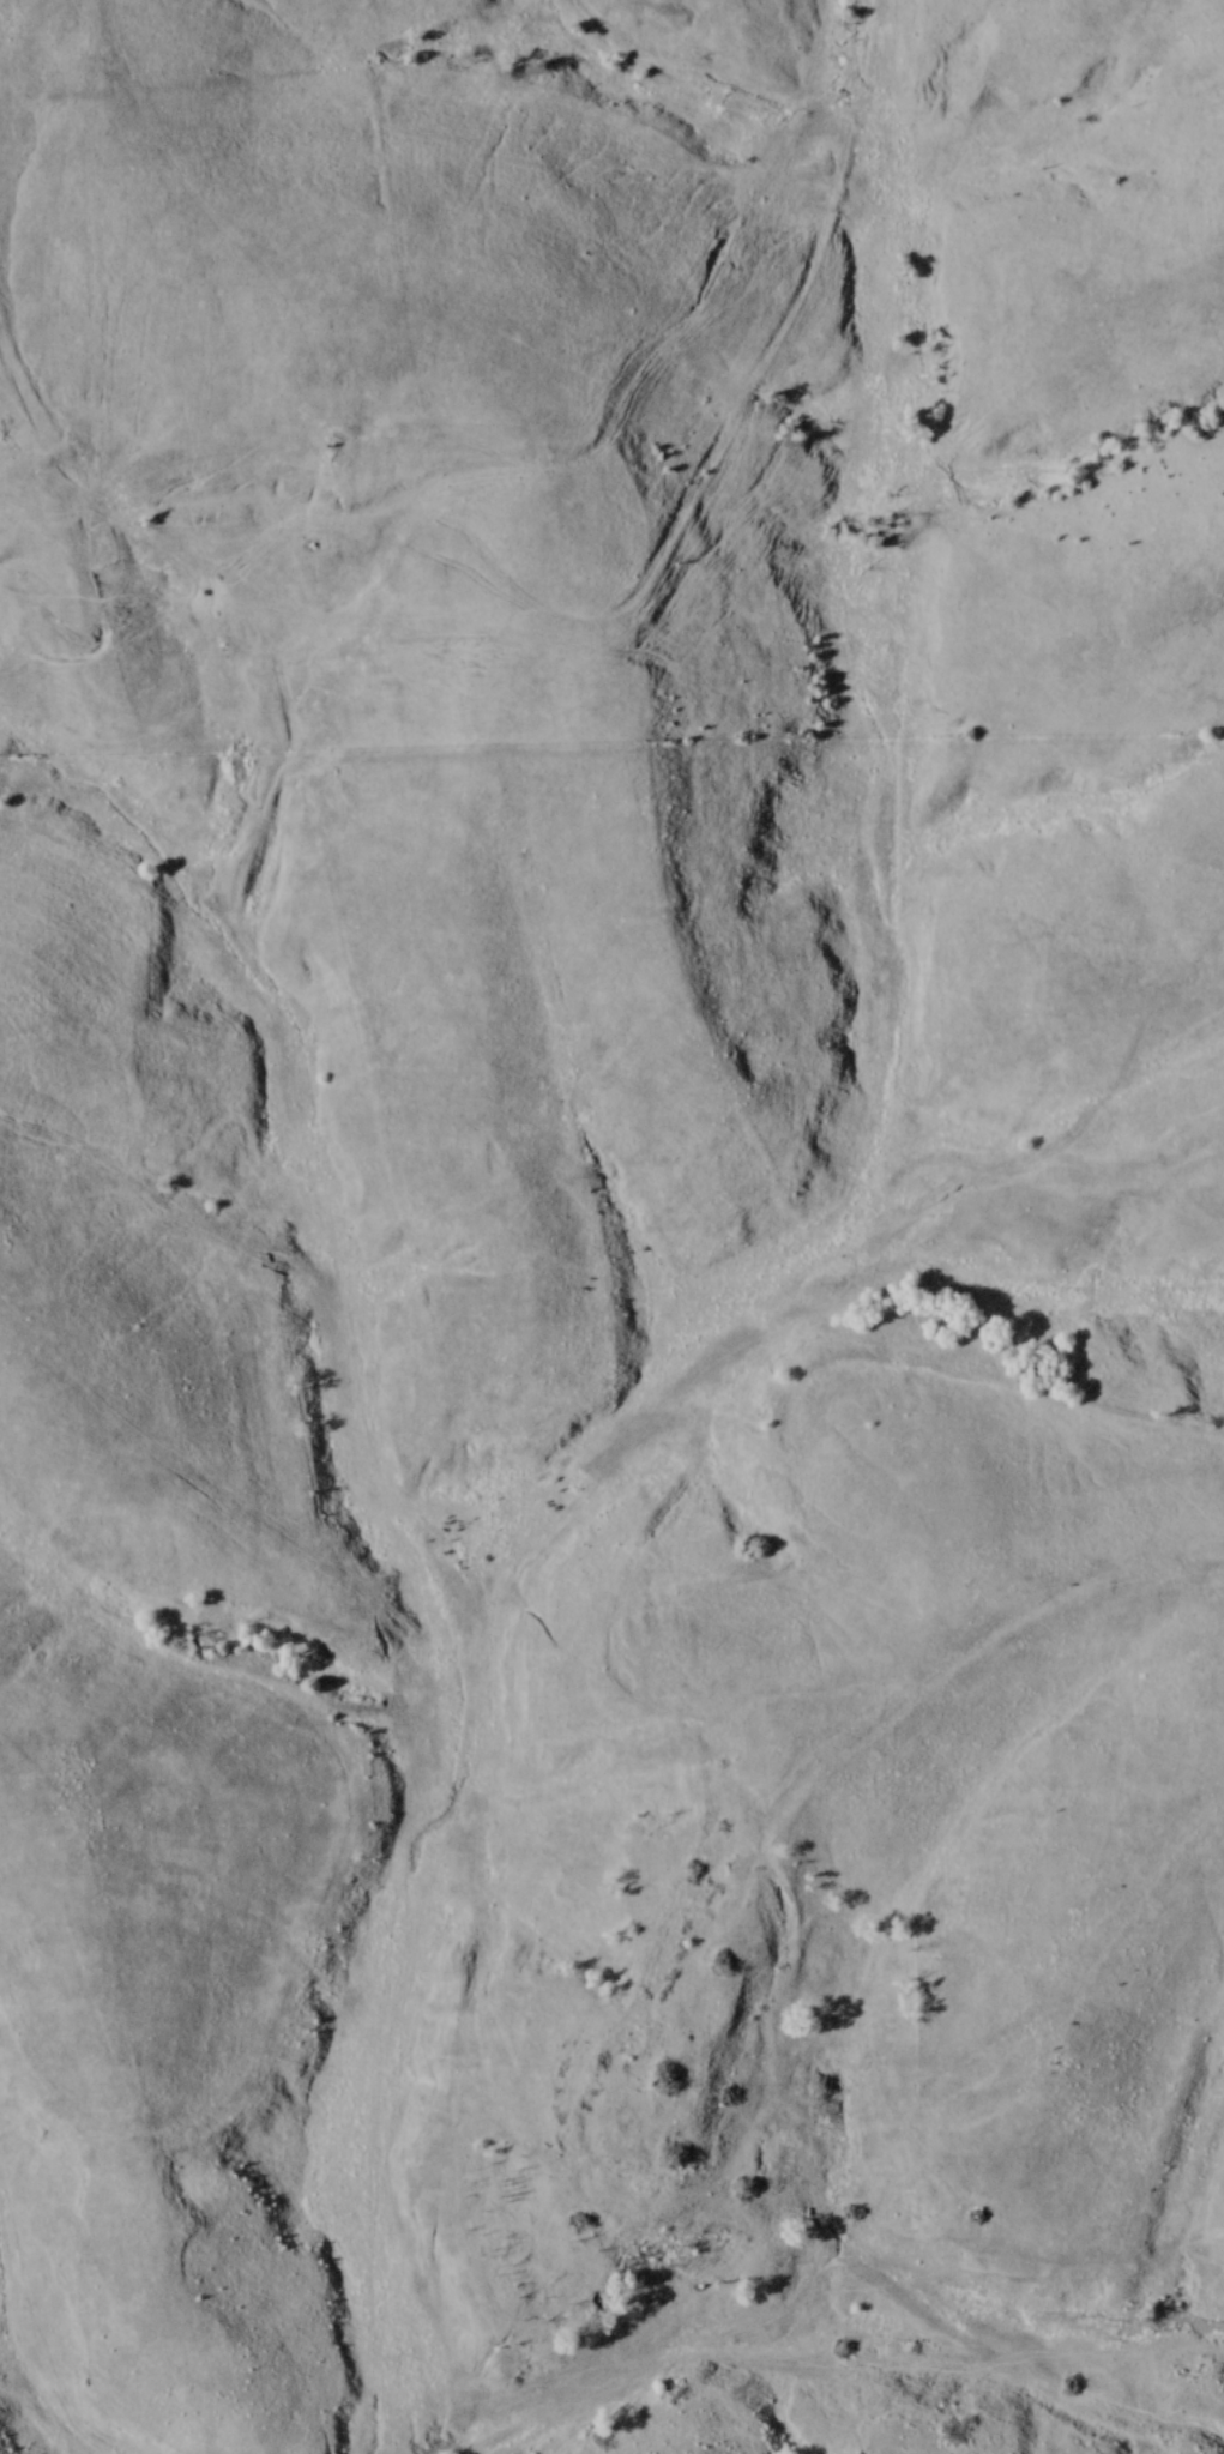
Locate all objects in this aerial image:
building: (667, 2076)

